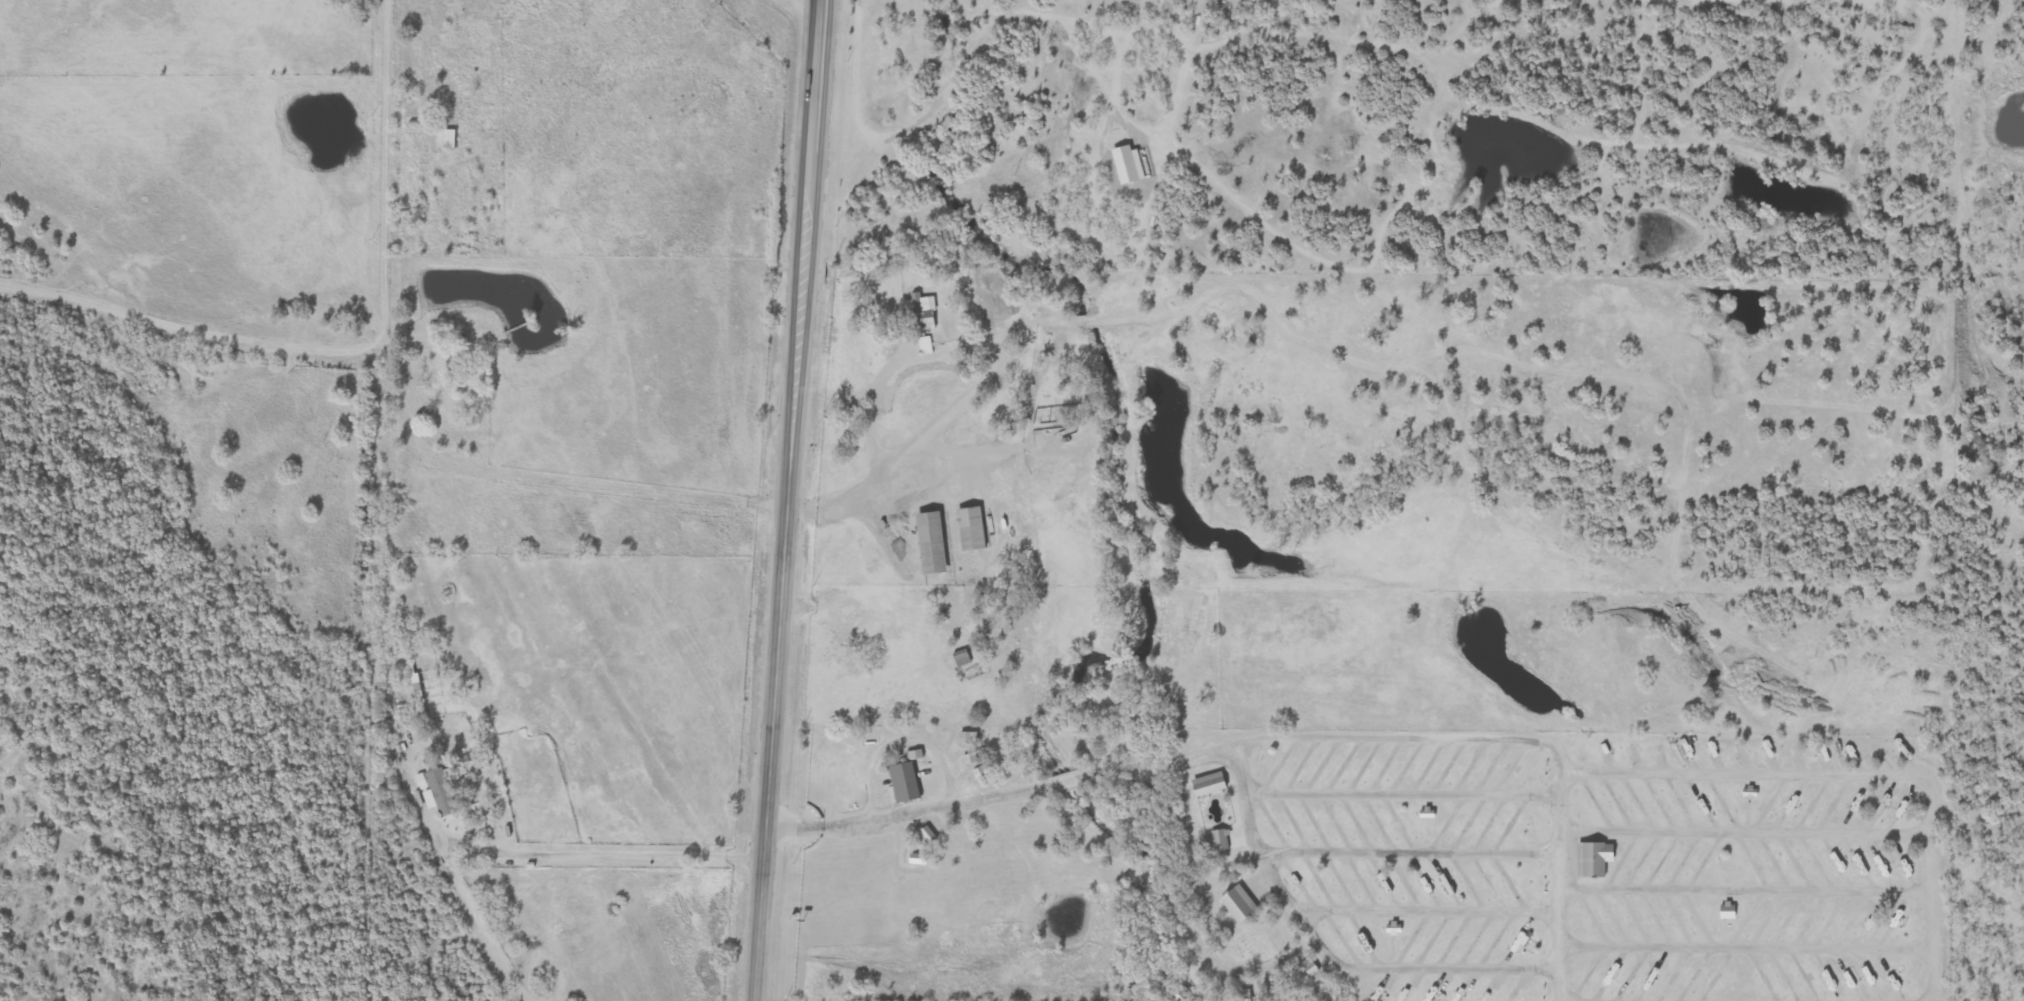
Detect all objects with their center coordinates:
building: (448, 116)
building: (918, 312)
road: (352, 344)
building: (443, 388)
building: (422, 391)
road: (571, 483)
road: (785, 500)
building: (973, 528)
building: (934, 542)
building: (964, 657)
building: (970, 737)
building: (1081, 739)
road: (1171, 757)
building: (973, 758)
building: (983, 771)
road: (1851, 775)
building: (899, 787)
building: (1203, 788)
building: (443, 792)
road: (1398, 794)
road: (1742, 832)
building: (1217, 845)
road: (1402, 851)
road: (599, 855)
building: (1589, 859)
road: (1554, 887)
road: (1741, 892)
building: (1235, 907)
building: (1722, 911)
road: (1422, 912)
road: (1740, 948)
road: (1318, 956)
building: (1305, 966)

